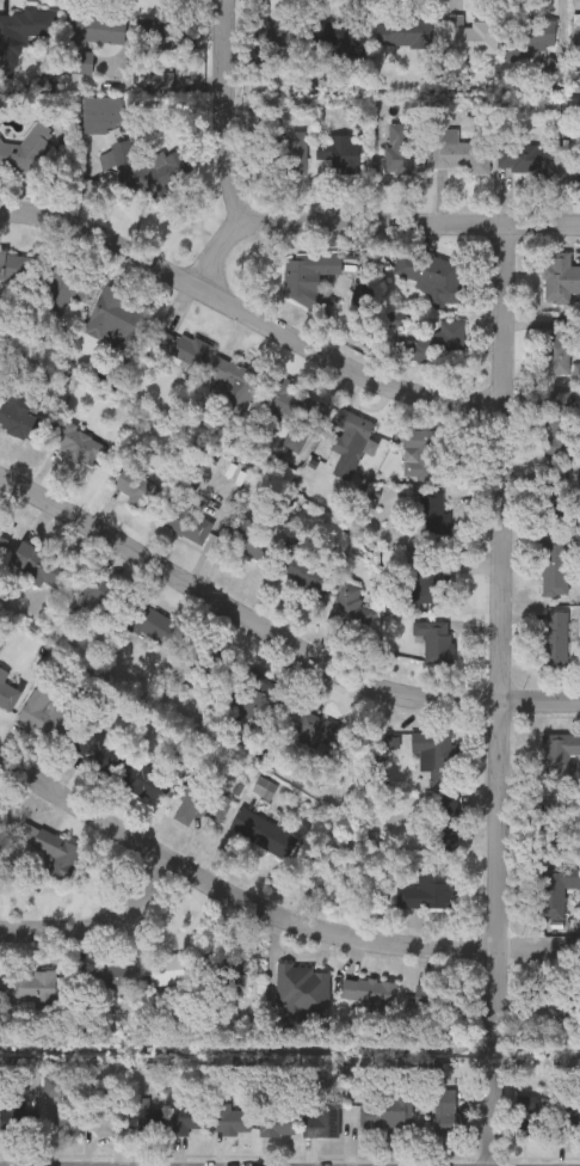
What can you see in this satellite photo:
building: (24, 27)
building: (405, 31)
building: (166, 32)
building: (274, 32)
building: (575, 32)
building: (338, 33)
building: (471, 33)
building: (530, 33)
building: (88, 37)
building: (160, 80)
building: (100, 112)
road: (222, 113)
building: (26, 148)
building: (402, 149)
building: (458, 151)
building: (337, 152)
building: (286, 157)
building: (119, 159)
building: (526, 159)
road: (371, 222)
building: (16, 269)
building: (437, 277)
building: (560, 277)
building: (296, 283)
building: (63, 284)
road: (252, 314)
building: (115, 318)
building: (433, 342)
building: (181, 345)
building: (559, 346)
building: (576, 373)
building: (234, 382)
building: (294, 413)
building: (21, 416)
building: (560, 426)
building: (344, 432)
building: (78, 442)
building: (417, 452)
building: (134, 487)
building: (559, 496)
building: (434, 511)
building: (186, 522)
building: (2, 540)
building: (246, 541)
building: (555, 565)
building: (39, 566)
building: (304, 570)
building: (427, 579)
building: (97, 594)
building: (348, 609)
building: (152, 625)
road: (274, 634)
building: (434, 638)
building: (555, 638)
building: (208, 657)
building: (10, 691)
road: (496, 695)
building: (260, 698)
building: (44, 712)
building: (317, 730)
building: (388, 741)
building: (97, 747)
building: (436, 754)
building: (559, 759)
building: (146, 781)
building: (264, 786)
building: (0, 804)
building: (199, 806)
building: (446, 816)
building: (556, 822)
building: (263, 833)
building: (47, 841)
building: (428, 889)
building: (551, 894)
road: (272, 912)
road: (98, 939)
building: (228, 964)
building: (163, 968)
building: (106, 976)
building: (27, 987)
building: (303, 989)
building: (368, 992)
building: (439, 998)
building: (62, 1105)
building: (388, 1109)
building: (448, 1115)
building: (189, 1116)
building: (146, 1117)
building: (228, 1118)
building: (105, 1121)
building: (531, 1121)
building: (276, 1122)
building: (320, 1122)
building: (568, 1123)

